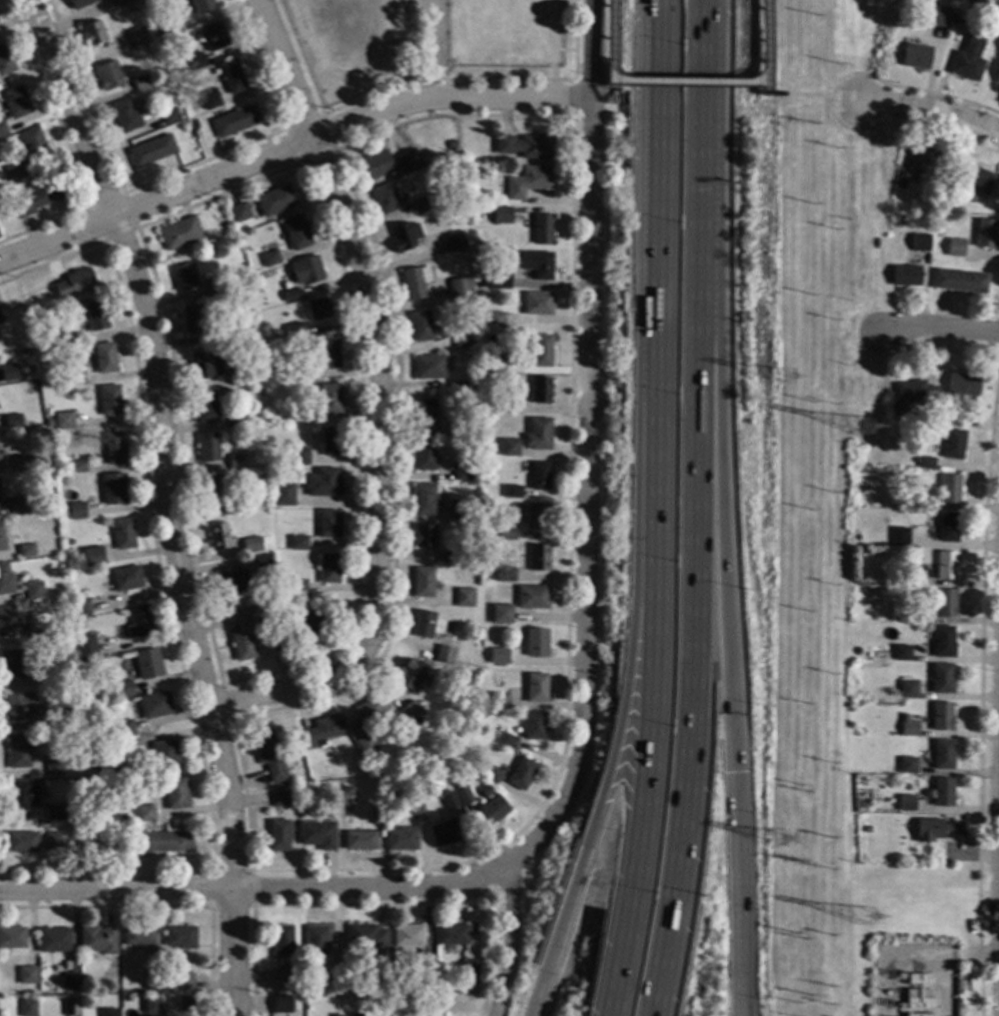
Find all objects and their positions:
building: (79, 3)
building: (122, 3)
building: (202, 5)
building: (131, 7)
building: (938, 16)
building: (982, 18)
building: (170, 26)
building: (92, 33)
building: (137, 35)
building: (215, 35)
road: (573, 39)
building: (908, 39)
road: (610, 40)
street lamp: (678, 40)
road: (763, 41)
road: (825, 42)
building: (915, 56)
building: (968, 59)
building: (5, 60)
building: (195, 61)
building: (177, 70)
building: (997, 71)
building: (108, 75)
building: (232, 76)
road: (573, 79)
road: (590, 79)
road: (611, 79)
building: (140, 81)
road: (686, 82)
road: (607, 85)
road: (764, 88)
road: (806, 94)
building: (209, 99)
road: (573, 100)
road: (828, 100)
building: (15, 101)
road: (856, 101)
road: (700, 103)
building: (161, 107)
road: (930, 109)
building: (169, 115)
building: (125, 116)
building: (235, 121)
building: (2, 128)
building: (196, 134)
building: (33, 143)
building: (452, 144)
building: (526, 146)
road: (290, 149)
building: (151, 150)
building: (404, 160)
building: (926, 160)
building: (376, 164)
building: (14, 171)
building: (972, 177)
building: (901, 180)
building: (530, 181)
building: (37, 196)
building: (385, 198)
building: (275, 200)
building: (425, 203)
building: (238, 212)
building: (502, 215)
street lamp: (676, 215)
building: (941, 222)
building: (542, 229)
building: (296, 231)
building: (941, 231)
building: (179, 233)
building: (985, 233)
building: (404, 236)
building: (455, 241)
building: (919, 242)
building: (955, 247)
building: (269, 258)
building: (536, 263)
building: (306, 270)
building: (905, 275)
building: (184, 276)
building: (495, 279)
building: (483, 280)
road: (656, 280)
building: (959, 280)
building: (415, 282)
building: (74, 283)
building: (214, 287)
building: (460, 288)
building: (290, 294)
building: (538, 303)
building: (318, 307)
building: (95, 315)
building: (0, 319)
building: (193, 319)
building: (496, 320)
building: (420, 325)
road: (940, 329)
building: (293, 331)
building: (224, 334)
building: (70, 339)
building: (462, 340)
building: (541, 350)
building: (22, 352)
building: (328, 353)
building: (104, 357)
building: (494, 363)
building: (204, 365)
building: (428, 366)
building: (8, 372)
building: (304, 375)
building: (74, 376)
building: (236, 376)
street lamp: (674, 383)
building: (962, 384)
power tower: (784, 386)
building: (468, 388)
building: (540, 390)
building: (259, 392)
building: (915, 393)
road: (378, 398)
building: (109, 399)
building: (329, 399)
building: (205, 406)
building: (509, 406)
building: (298, 415)
building: (428, 415)
building: (958, 418)
building: (63, 419)
building: (12, 420)
building: (236, 421)
building: (49, 422)
building: (464, 432)
building: (538, 433)
building: (938, 435)
power tower: (864, 436)
building: (330, 441)
building: (953, 443)
building: (207, 446)
building: (509, 447)
building: (113, 448)
building: (425, 455)
building: (299, 456)
building: (236, 461)
building: (22, 462)
building: (922, 462)
building: (62, 465)
building: (77, 466)
building: (462, 471)
building: (539, 475)
building: (323, 482)
building: (113, 488)
building: (949, 488)
building: (212, 489)
road: (719, 489)
building: (512, 491)
building: (283, 493)
road: (167, 498)
building: (424, 499)
building: (920, 501)
building: (0, 503)
building: (238, 504)
building: (21, 505)
building: (0, 506)
building: (76, 510)
building: (63, 511)
building: (462, 512)
building: (537, 515)
road: (588, 521)
building: (328, 523)
building: (947, 527)
building: (507, 533)
building: (123, 534)
building: (218, 536)
building: (424, 536)
building: (853, 536)
building: (899, 536)
building: (2, 538)
building: (68, 542)
building: (298, 542)
building: (251, 544)
street lamp: (672, 548)
building: (25, 550)
building: (862, 550)
building: (448, 557)
building: (538, 557)
building: (95, 558)
building: (262, 560)
building: (945, 564)
building: (911, 566)
building: (329, 568)
building: (505, 573)
building: (910, 577)
building: (126, 578)
building: (5, 579)
building: (233, 580)
building: (423, 582)
building: (872, 586)
building: (297, 587)
building: (34, 590)
building: (532, 596)
building: (464, 597)
building: (945, 603)
building: (79, 605)
building: (501, 613)
road: (692, 613)
building: (904, 614)
building: (7, 621)
building: (139, 621)
building: (430, 624)
building: (298, 629)
building: (240, 631)
building: (33, 636)
building: (943, 641)
building: (536, 642)
building: (85, 647)
building: (901, 652)
building: (444, 654)
building: (498, 656)
building: (11, 663)
building: (148, 663)
building: (63, 672)
building: (408, 675)
building: (941, 678)
building: (536, 687)
building: (908, 688)
building: (124, 689)
building: (499, 700)
building: (154, 704)
building: (19, 705)
building: (370, 709)
building: (410, 710)
building: (941, 716)
street lamp: (667, 718)
building: (68, 720)
building: (533, 725)
building: (908, 726)
building: (124, 728)
building: (322, 731)
building: (507, 740)
building: (366, 744)
building: (18, 751)
building: (165, 753)
building: (942, 754)
building: (269, 755)
building: (103, 762)
building: (907, 764)
building: (886, 767)
building: (54, 768)
traffic signals: (732, 772)
building: (521, 773)
building: (492, 774)
building: (458, 783)
road: (600, 789)
road: (644, 789)
building: (942, 792)
building: (176, 793)
building: (23, 795)
building: (464, 796)
building: (280, 799)
building: (448, 800)
building: (906, 802)
building: (414, 805)
building: (493, 809)
building: (55, 811)
building: (145, 812)
building: (377, 815)
building: (123, 818)
building: (937, 830)
building: (442, 832)
building: (317, 834)
building: (278, 836)
building: (401, 838)
building: (359, 839)
building: (53, 840)
building: (163, 841)
building: (22, 842)
power tower: (781, 852)
street lamp: (650, 883)
road: (256, 888)
road: (736, 893)
power tower: (871, 926)
building: (451, 933)
building: (138, 935)
building: (408, 935)
building: (366, 936)
building: (12, 937)
building: (179, 937)
building: (54, 939)
building: (98, 939)
building: (282, 940)
building: (316, 940)
building: (469, 968)
building: (425, 969)
building: (290, 974)
building: (27, 975)
building: (336, 977)
building: (82, 978)
building: (68, 980)
power substation: (914, 980)
building: (152, 981)
building: (184, 981)
building: (410, 984)
building: (438, 987)
building: (900, 996)
building: (299, 997)
building: (184, 1003)
building: (282, 1004)
building: (151, 1005)
building: (70, 1006)
building: (27, 1007)
building: (109, 1012)
building: (354, 1014)
building: (426, 1014)
building: (337, 1015)

